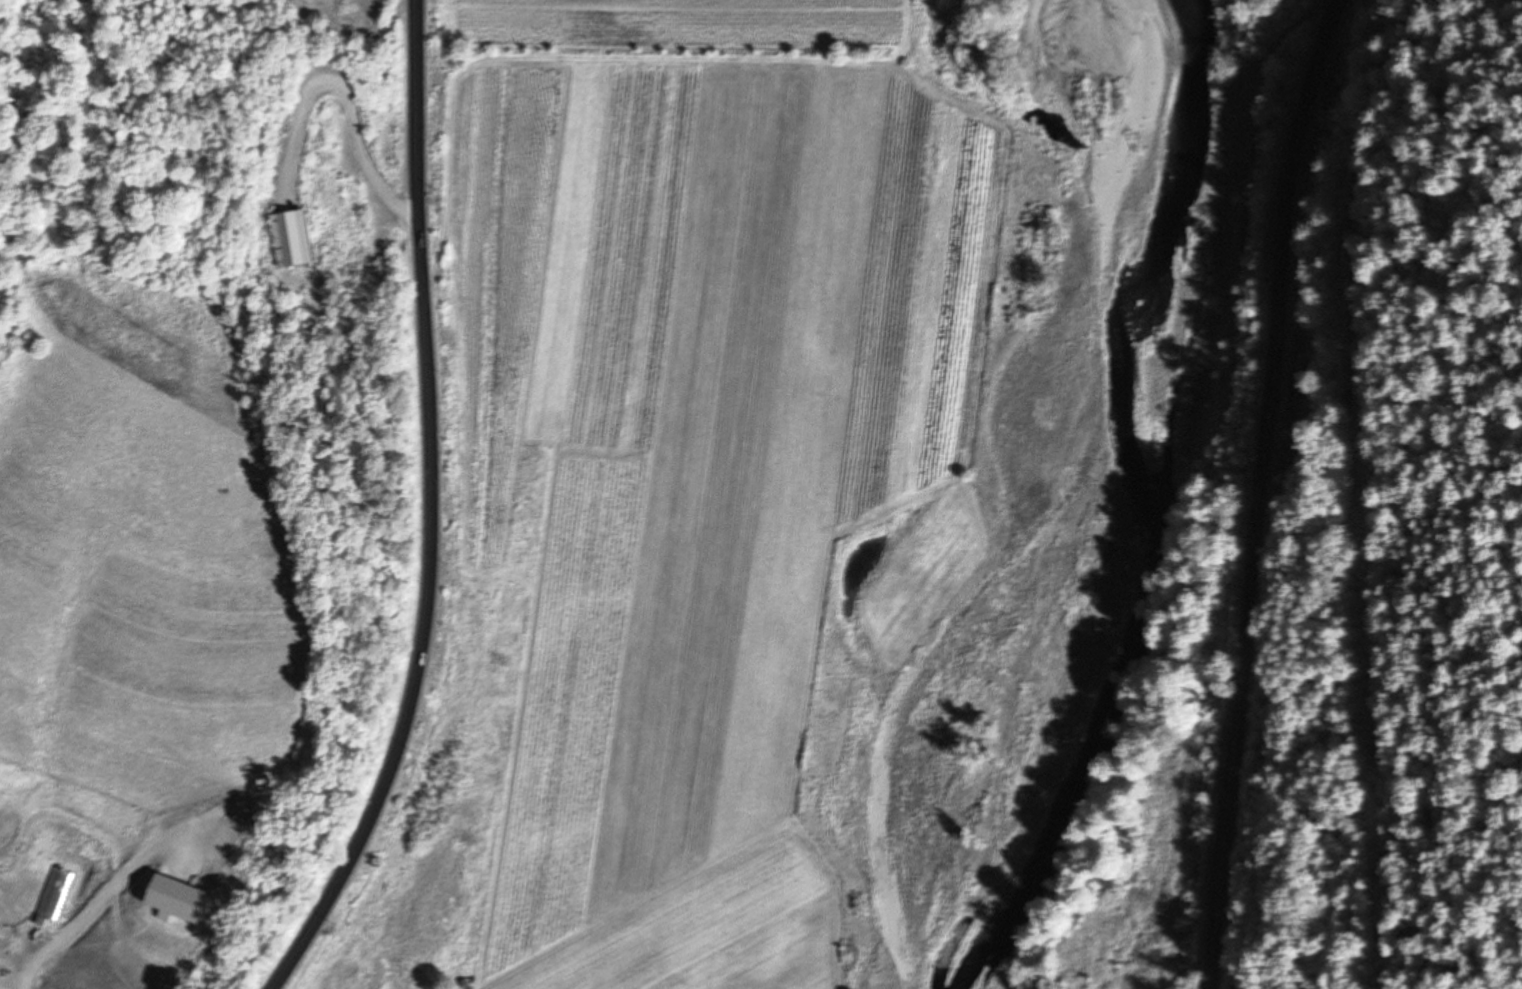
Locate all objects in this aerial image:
road: (342, 85)
building: (288, 241)
road: (1255, 491)
river: (1150, 493)
road: (429, 511)
road: (81, 916)

